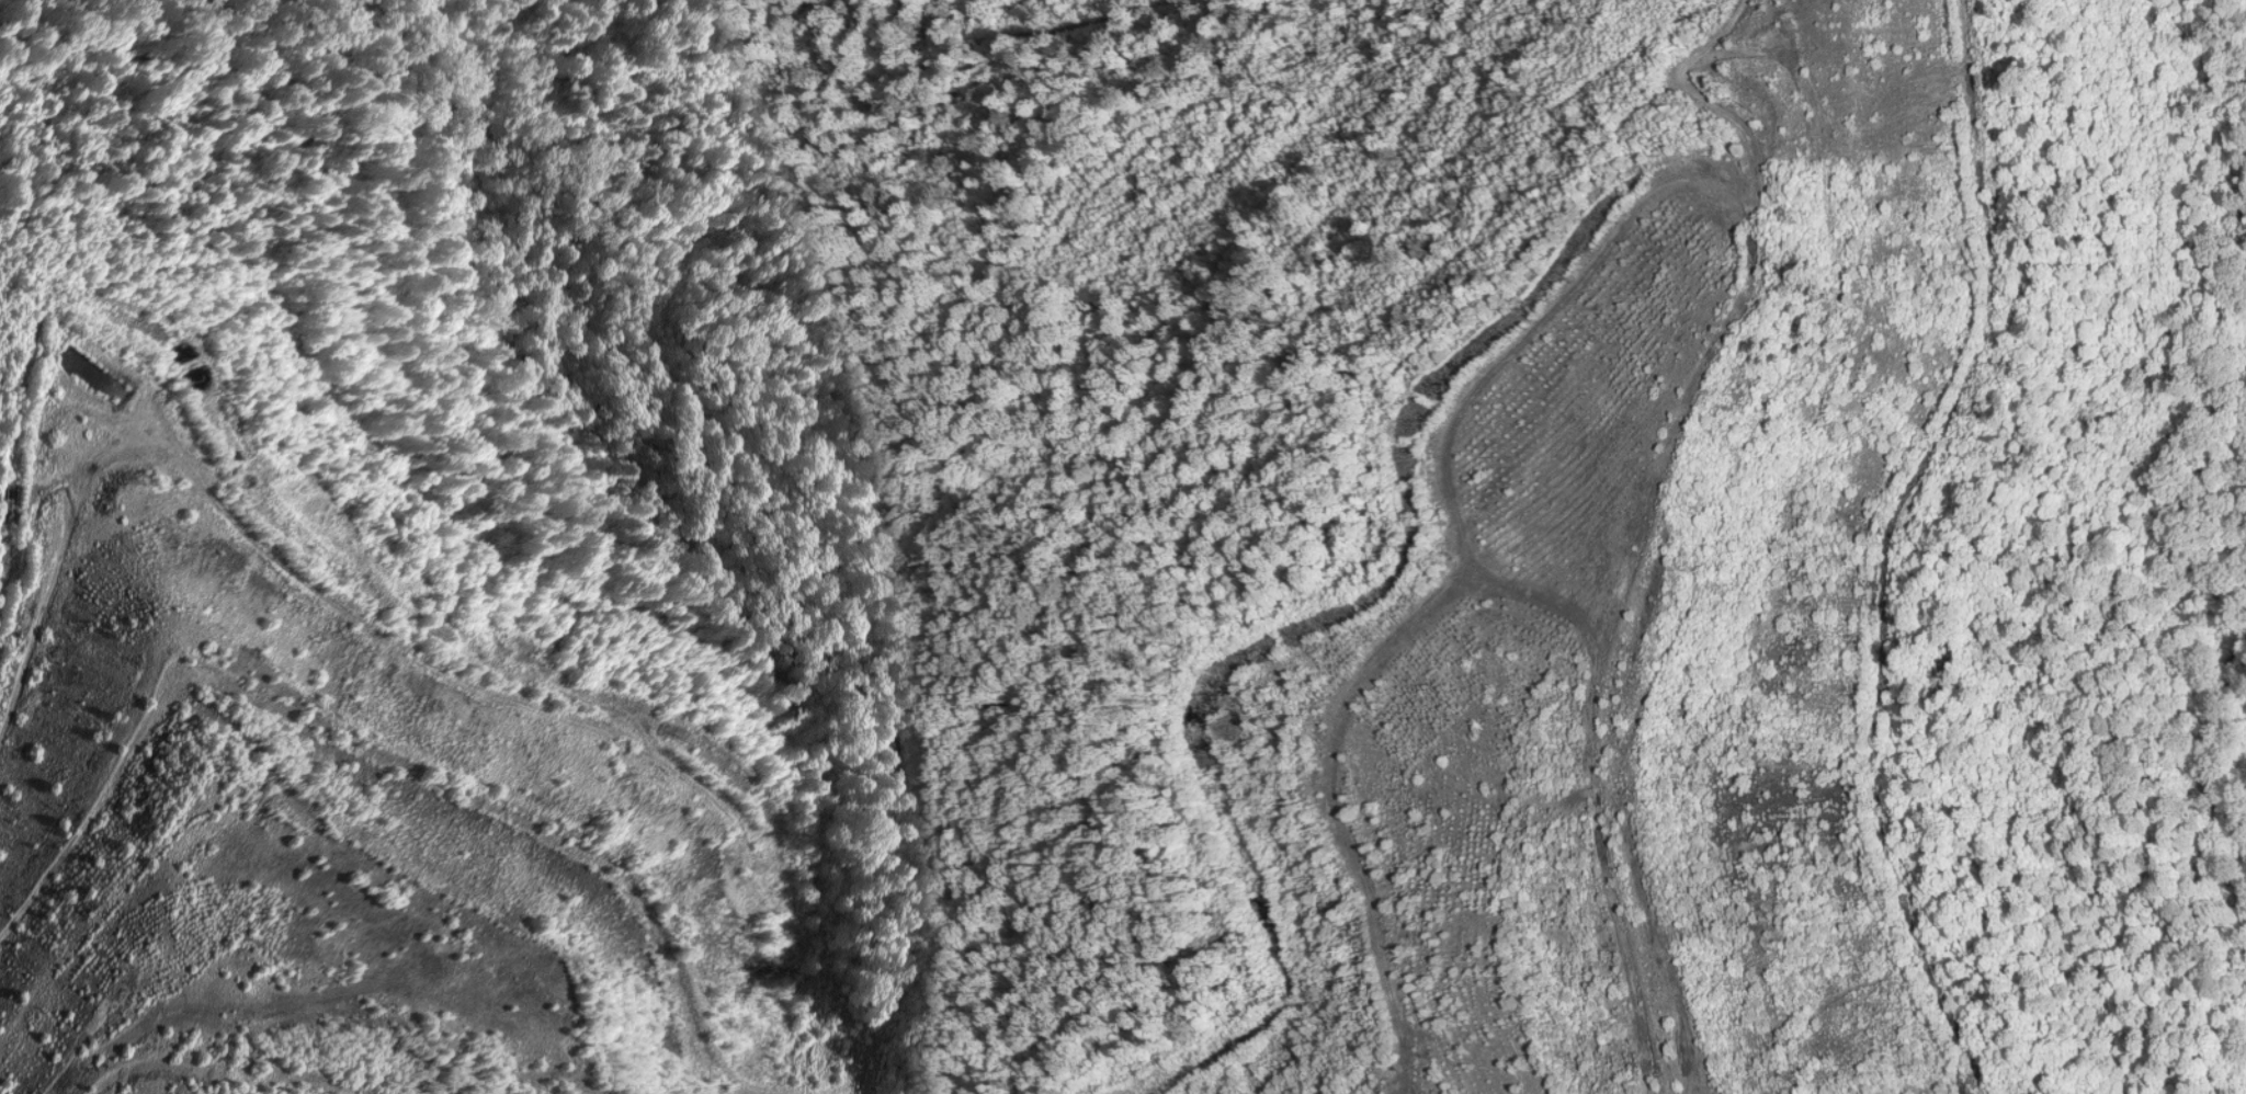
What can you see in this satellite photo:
quarry: (1123, 547)

